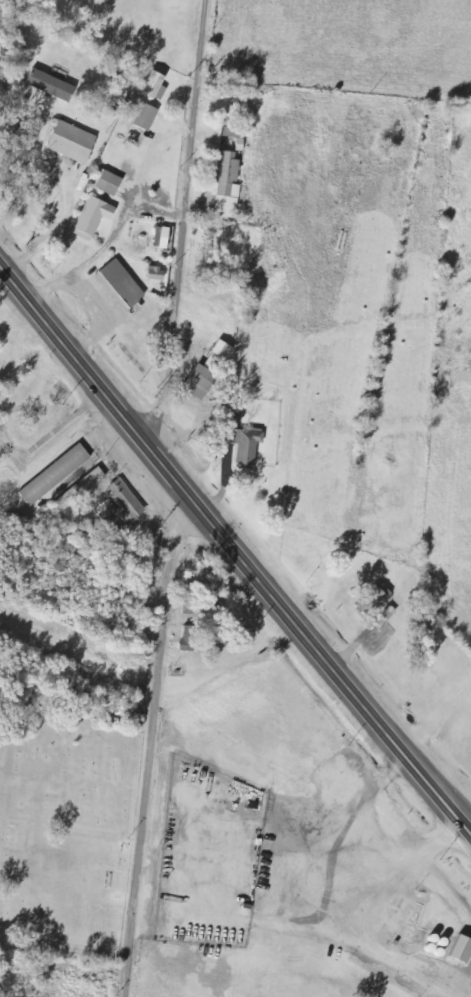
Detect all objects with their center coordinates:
building: (155, 84)
building: (52, 85)
building: (230, 91)
building: (147, 116)
building: (232, 127)
building: (74, 142)
building: (110, 183)
building: (229, 186)
building: (95, 217)
road: (181, 226)
building: (164, 237)
building: (158, 274)
building: (123, 284)
building: (225, 350)
building: (202, 382)
building: (242, 439)
building: (56, 475)
building: (79, 490)
building: (121, 504)
road: (231, 542)
building: (377, 599)
building: (192, 639)
road: (149, 746)
building: (463, 950)
road: (63, 958)

